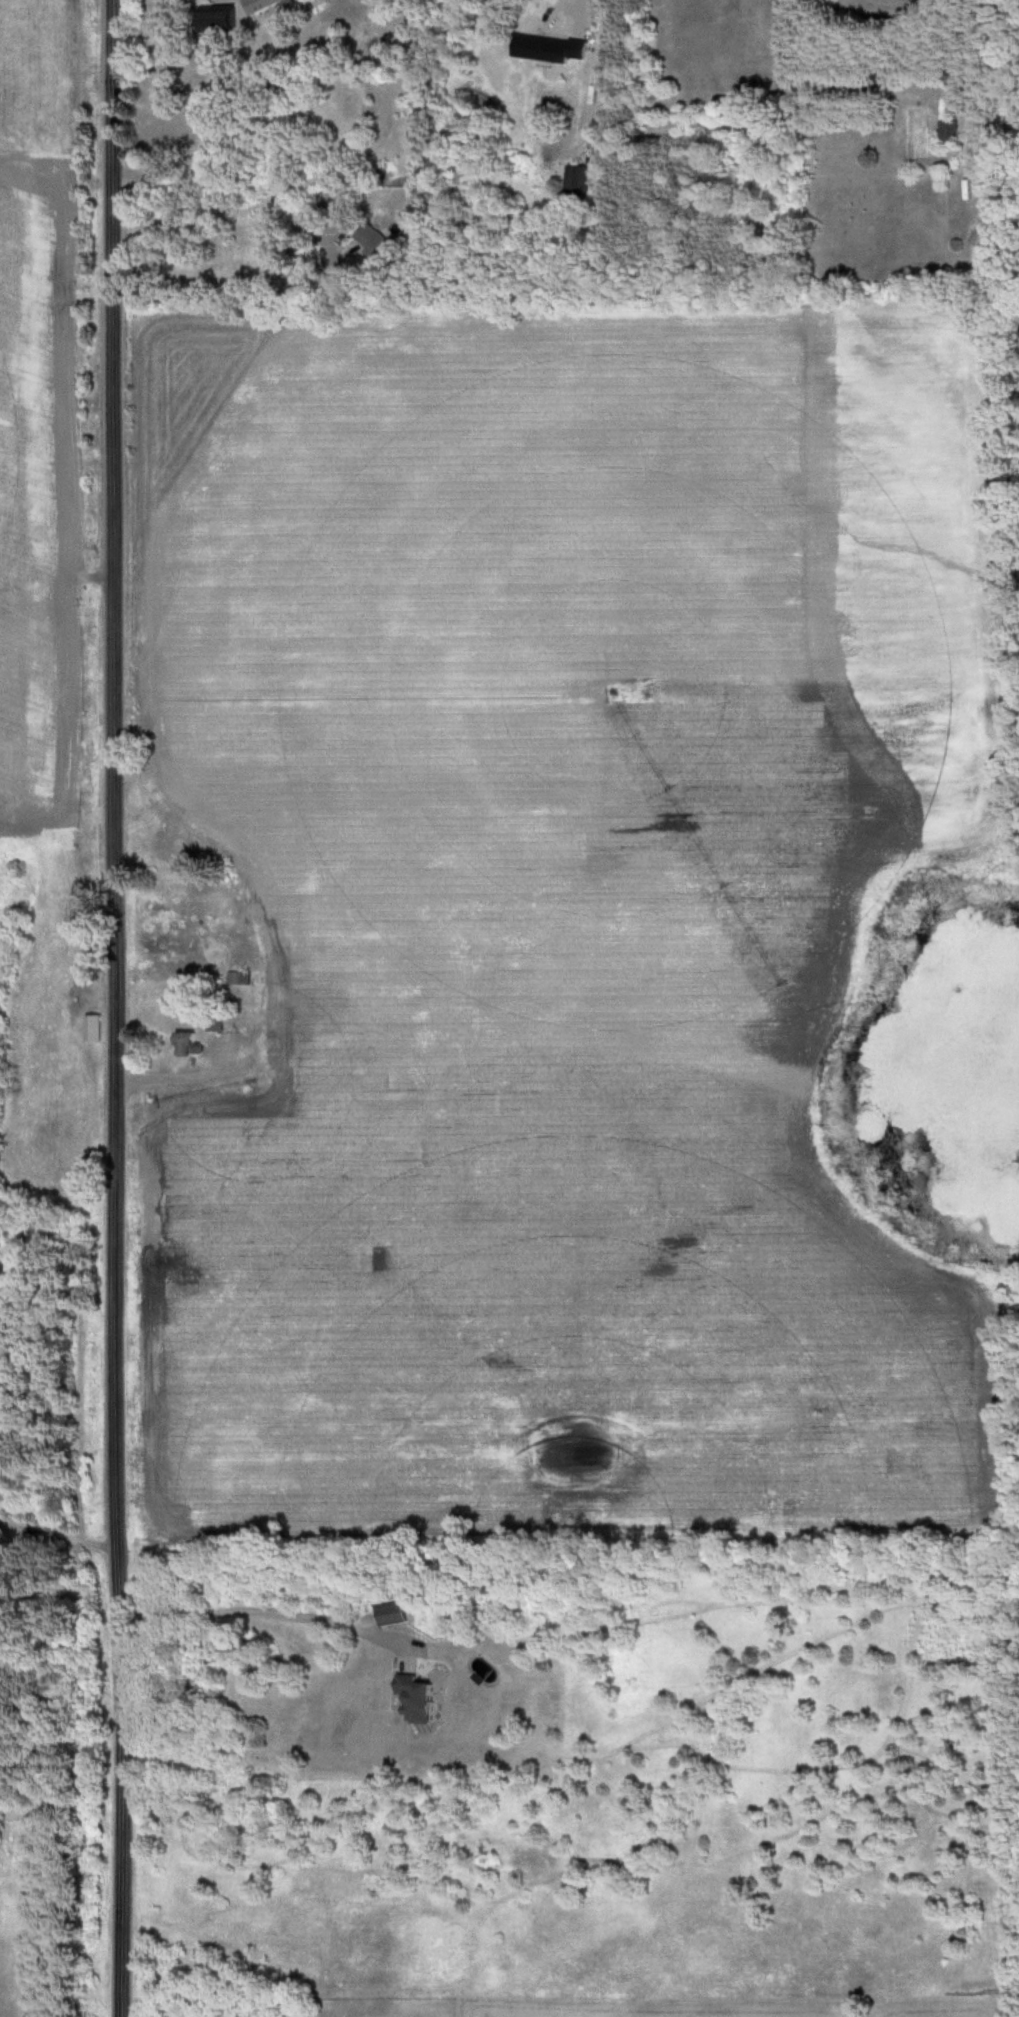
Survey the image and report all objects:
building: (263, 5)
road: (576, 6)
building: (219, 20)
building: (551, 50)
building: (948, 133)
building: (577, 184)
building: (372, 243)
road: (283, 275)
building: (223, 774)
building: (184, 799)
building: (244, 980)
road: (117, 1008)
building: (297, 1009)
building: (93, 1028)
building: (266, 1033)
building: (189, 1045)
road: (246, 1066)
road: (59, 1542)
road: (261, 1612)

